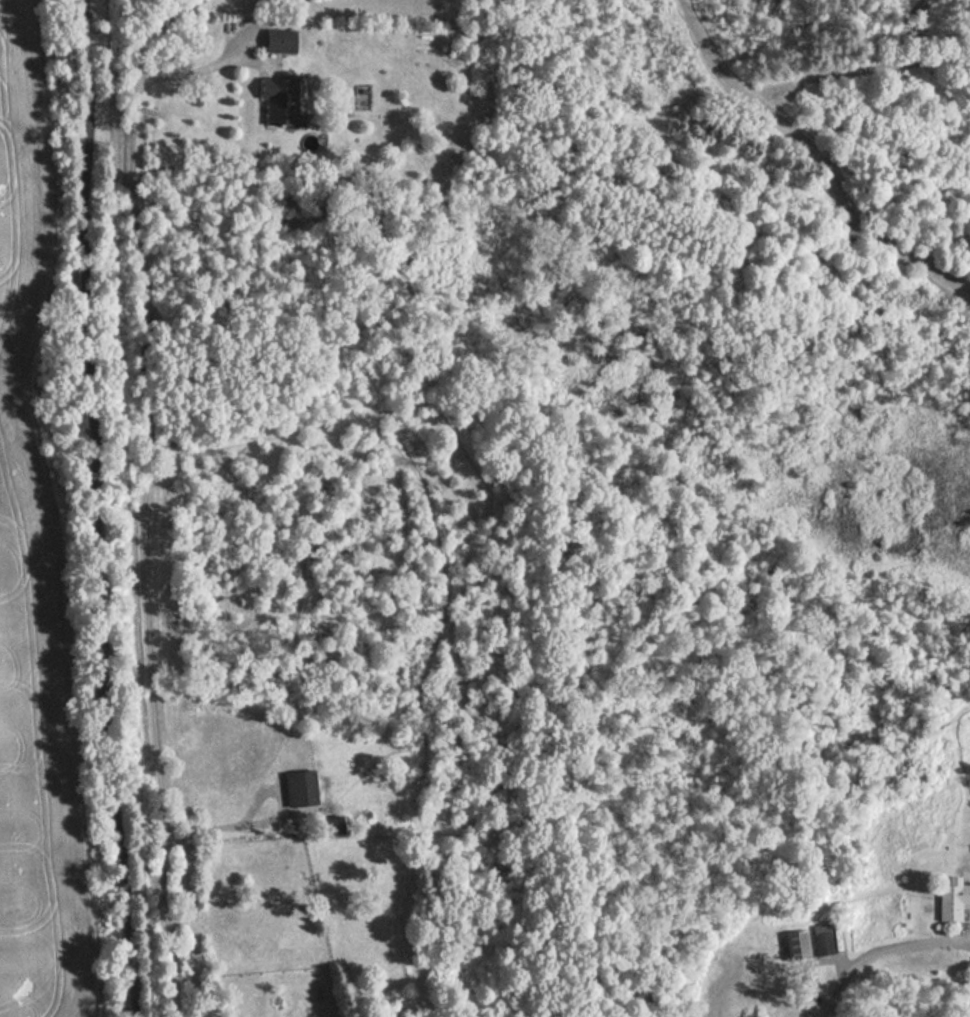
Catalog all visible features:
building: (279, 39)
road: (190, 72)
building: (278, 98)
road: (822, 160)
road: (144, 493)
road: (92, 509)
building: (299, 788)
road: (223, 822)
building: (951, 900)
building: (823, 943)
building: (795, 945)
road: (880, 950)

